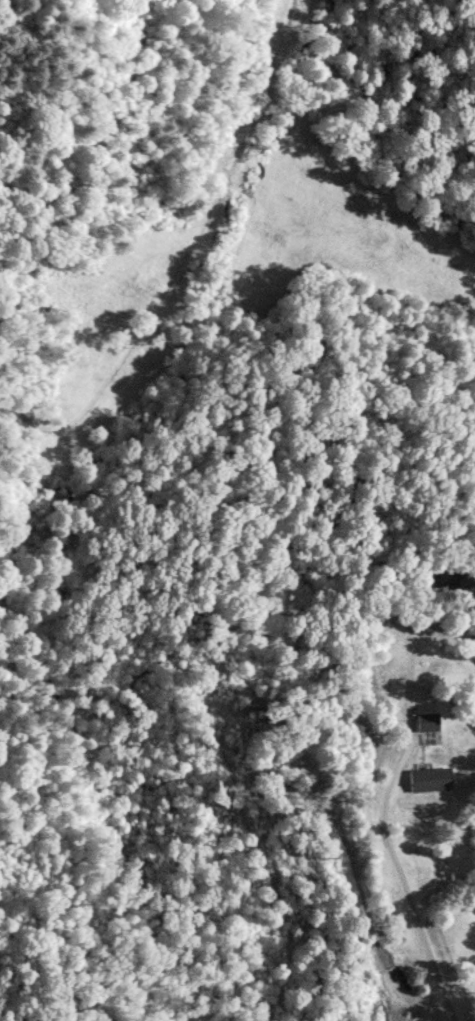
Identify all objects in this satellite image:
building: (431, 722)
building: (432, 780)
road: (398, 881)
road: (360, 885)

